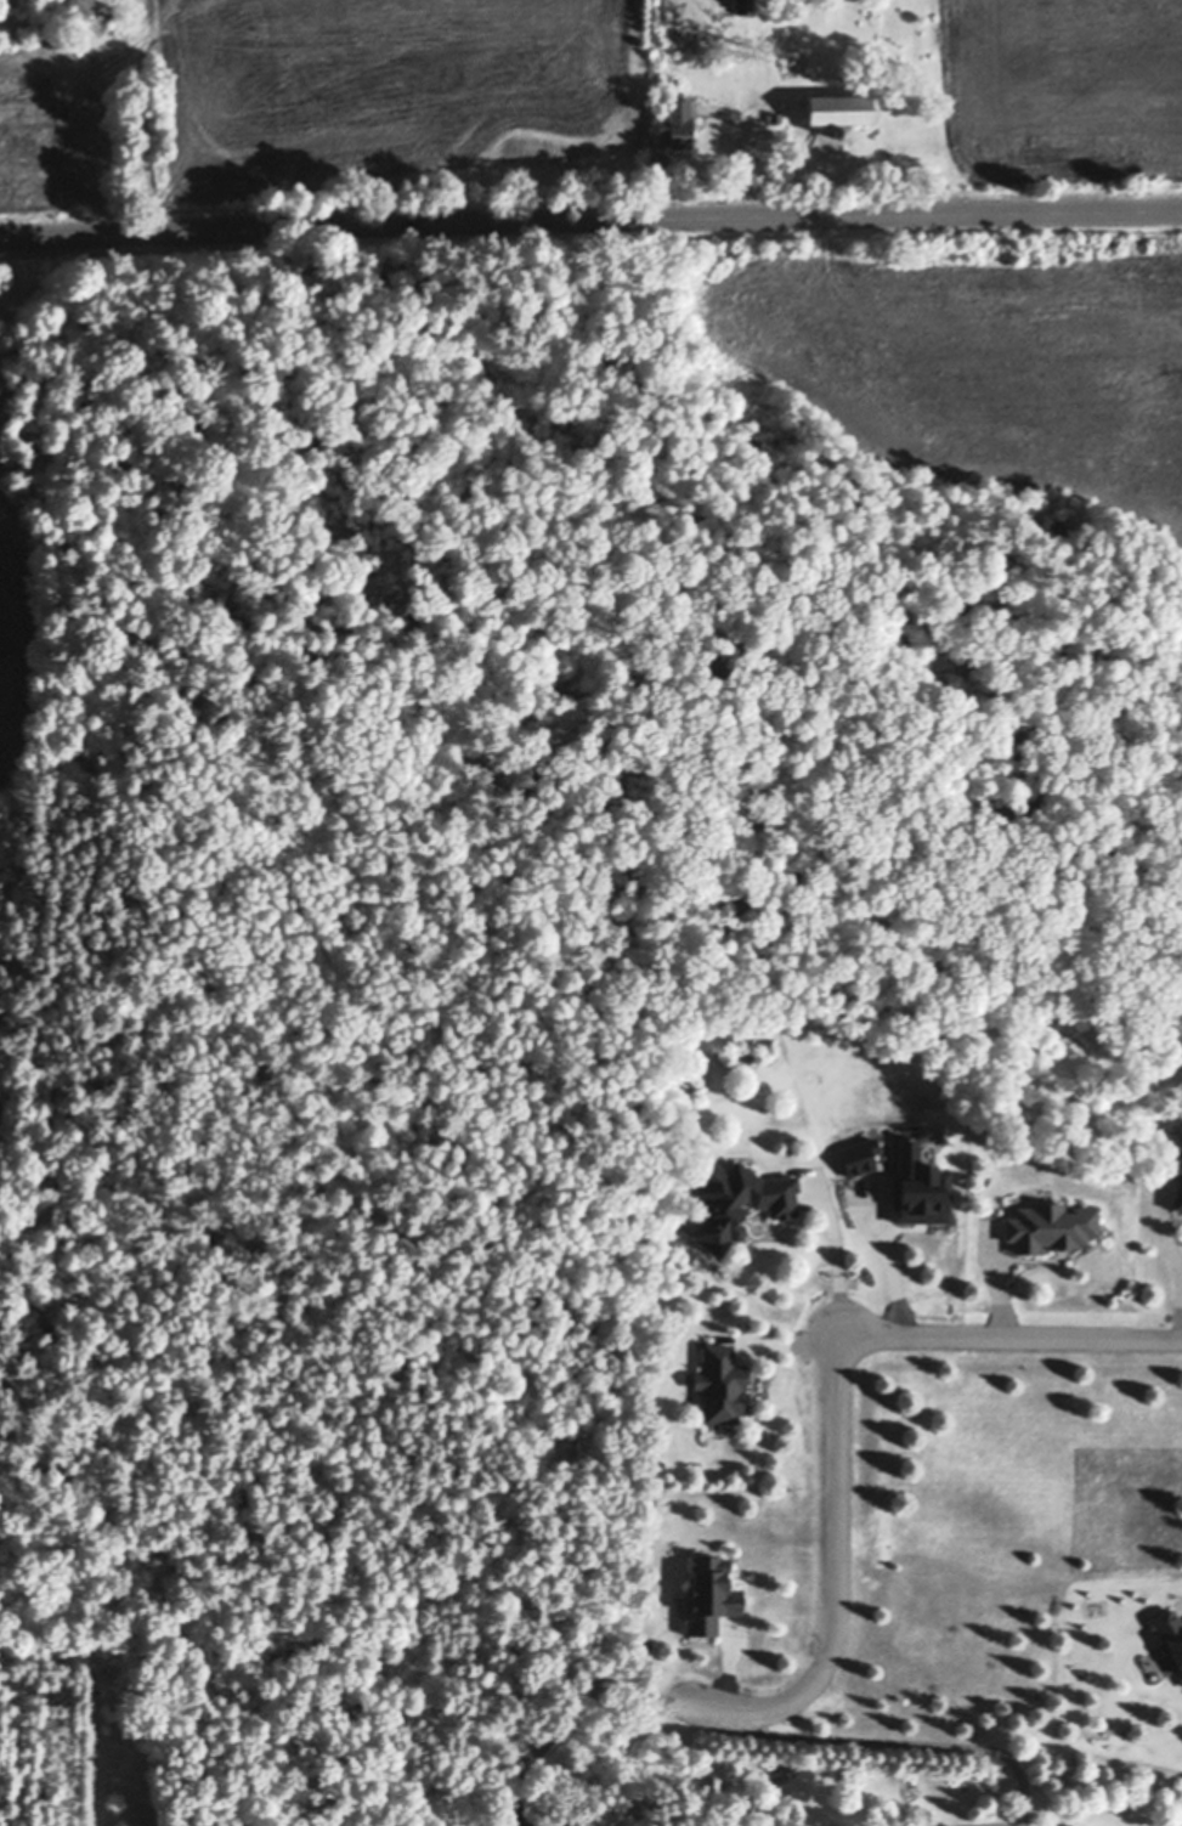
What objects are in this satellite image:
building: (745, 5)
building: (839, 103)
building: (776, 115)
building: (677, 120)
building: (839, 131)
road: (590, 220)
building: (1178, 1131)
building: (1176, 1161)
building: (1178, 1195)
building: (737, 1198)
building: (1051, 1225)
road: (835, 1253)
road: (1172, 1265)
building: (720, 1381)
road: (836, 1403)
building: (711, 1593)
building: (1170, 1634)
road: (562, 1709)
road: (906, 1742)

